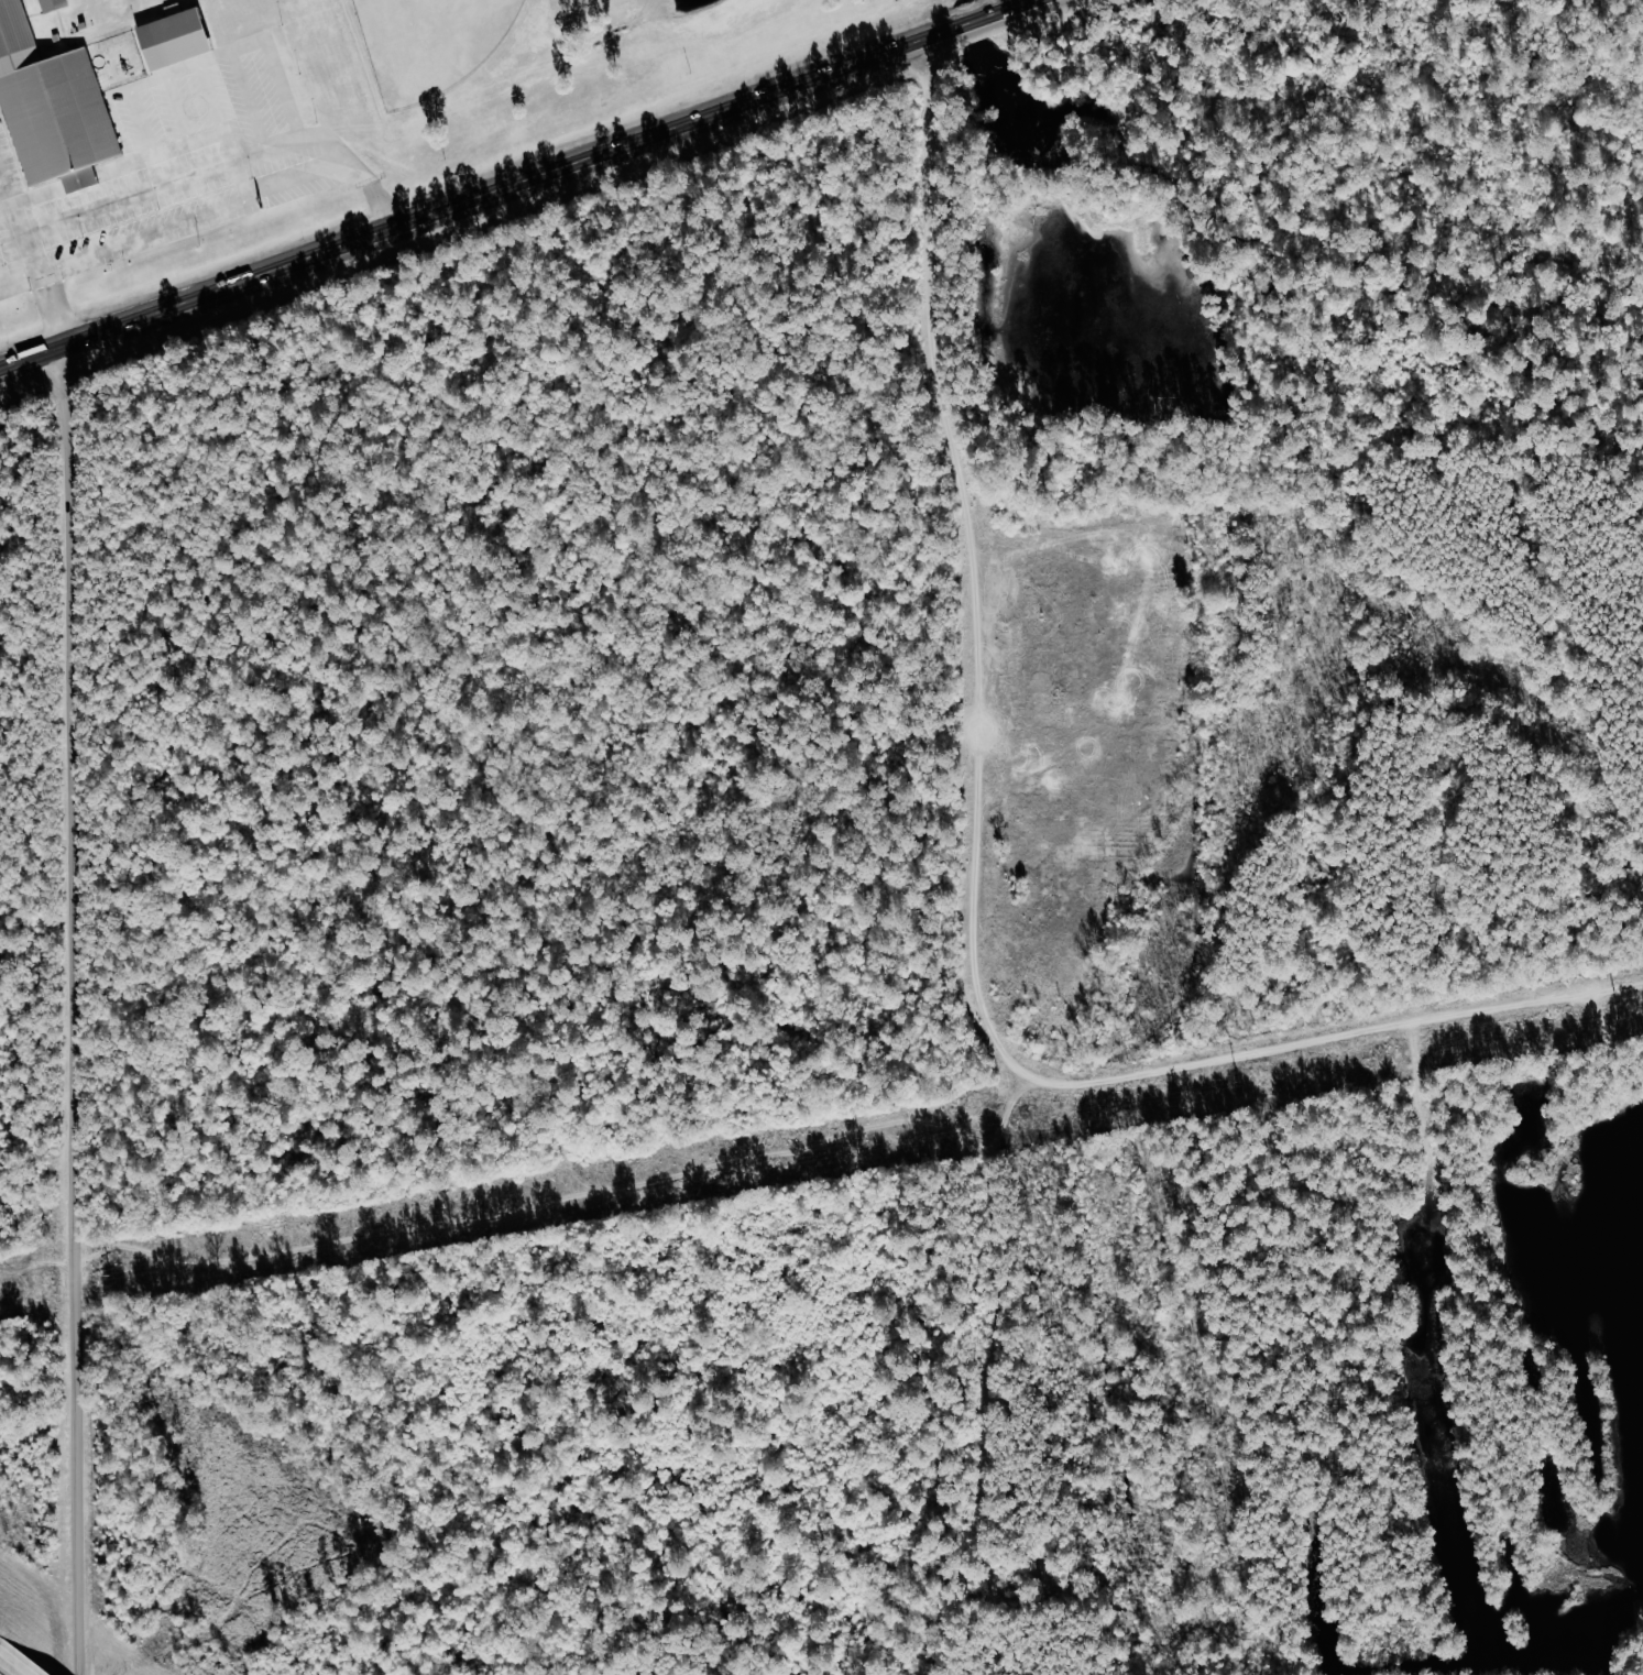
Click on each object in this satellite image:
building: (52, 4)
building: (174, 40)
building: (51, 103)
road: (300, 161)
building: (79, 179)
road: (80, 179)
road: (485, 185)
road: (41, 195)
road: (240, 198)
road: (380, 202)
road: (34, 245)
power tower: (1621, 1010)
road: (69, 1011)
power tower: (1238, 1079)
power tower: (863, 1145)
power tower: (485, 1211)
power tower: (112, 1277)
road: (7, 1658)
road: (20, 1669)

